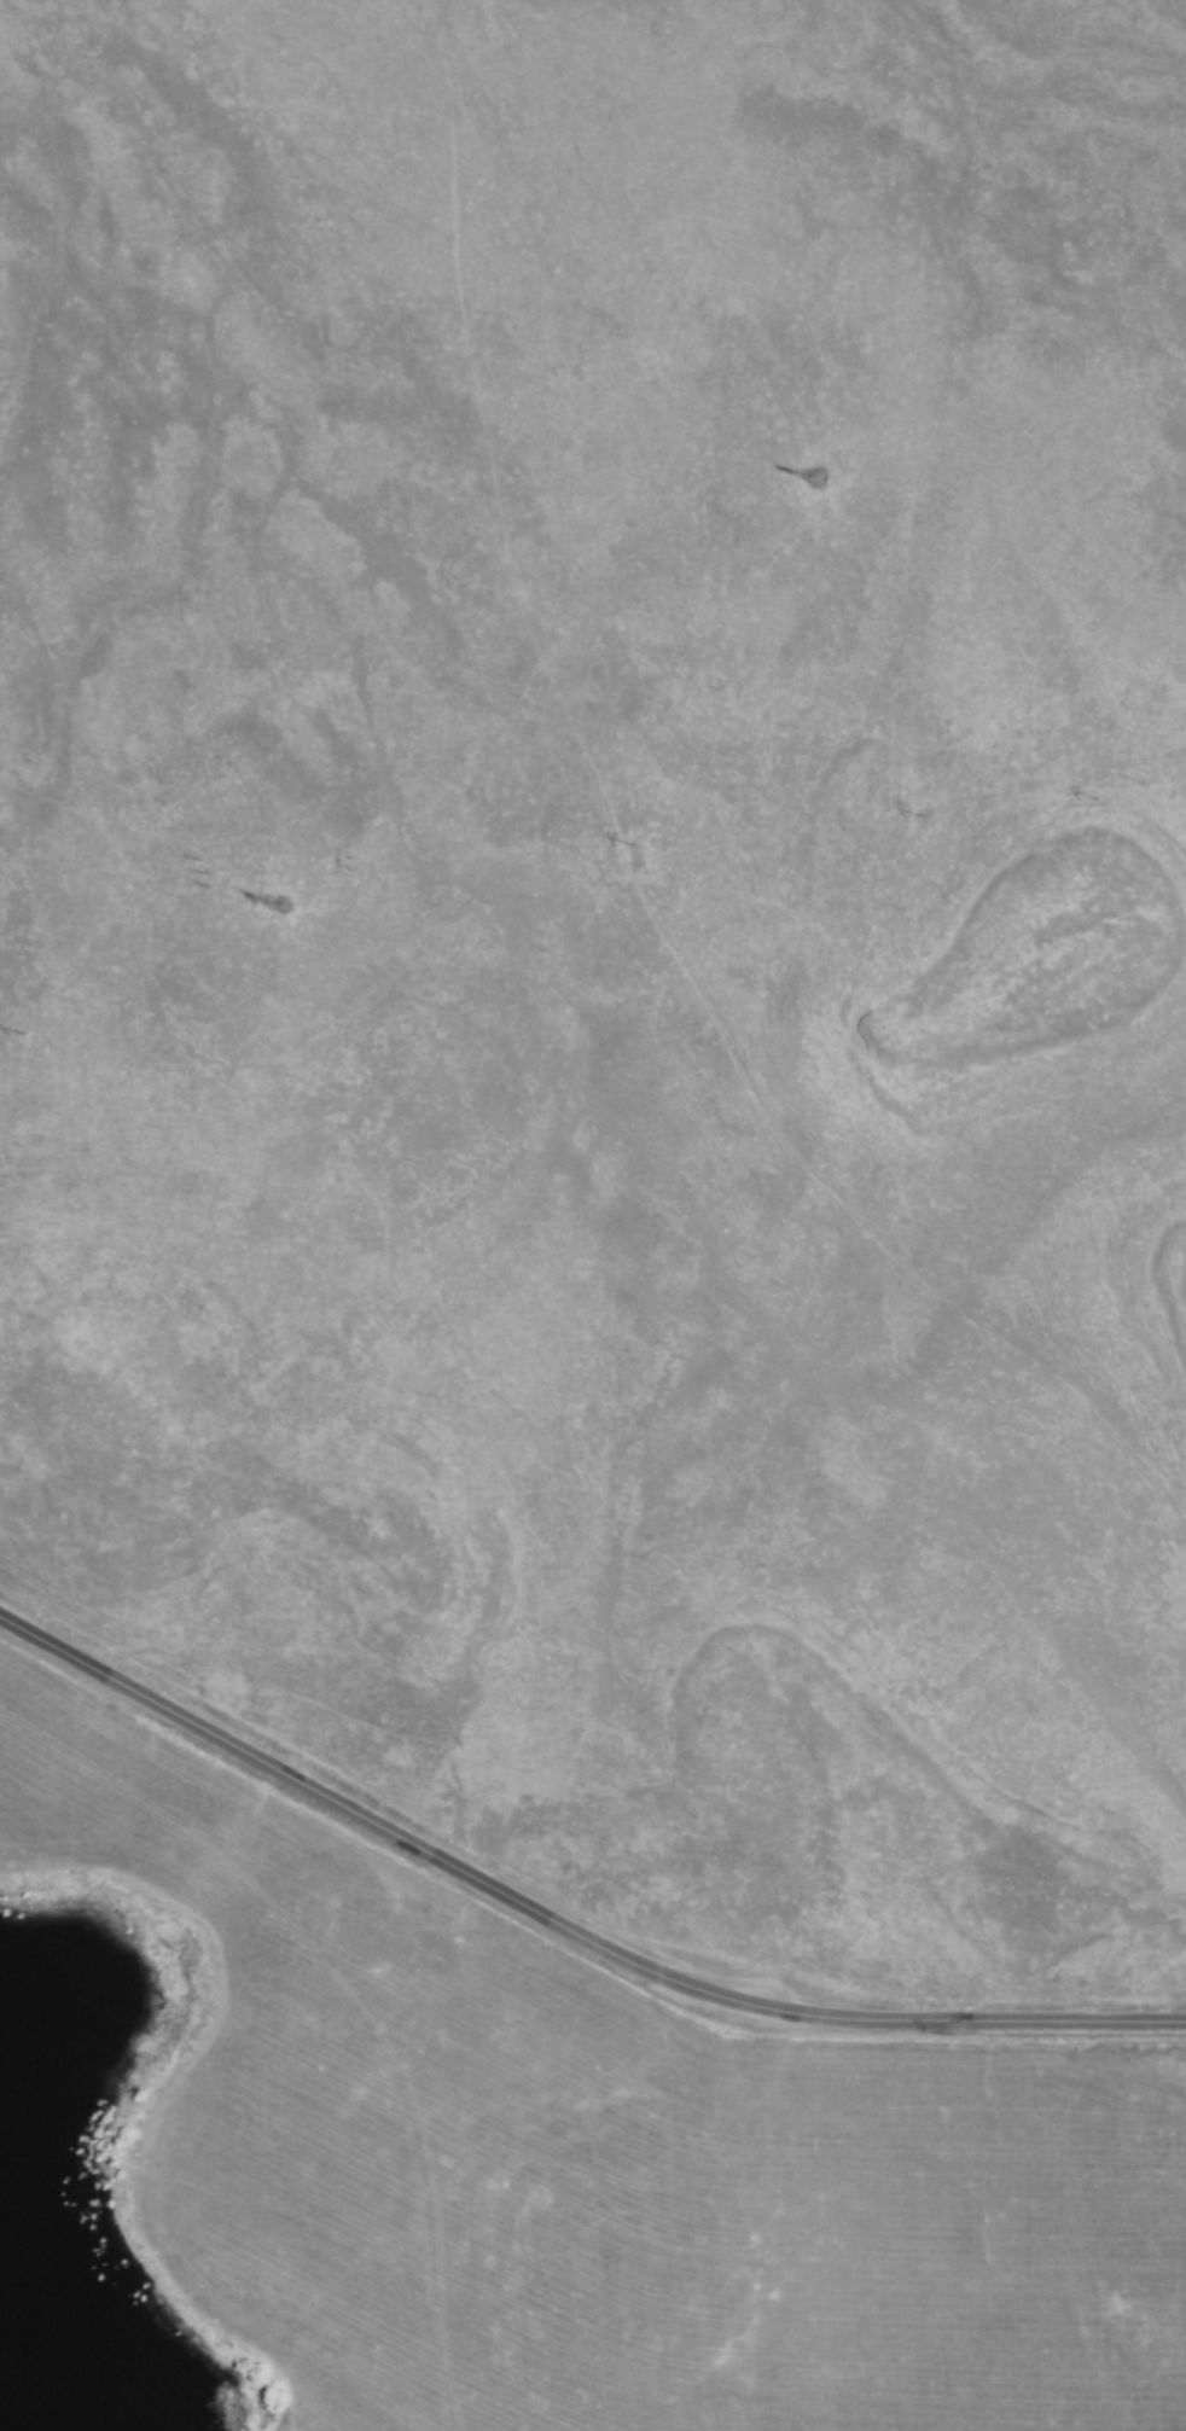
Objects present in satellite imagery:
power tower: (818, 479)
power tower: (280, 903)
road: (564, 1926)

